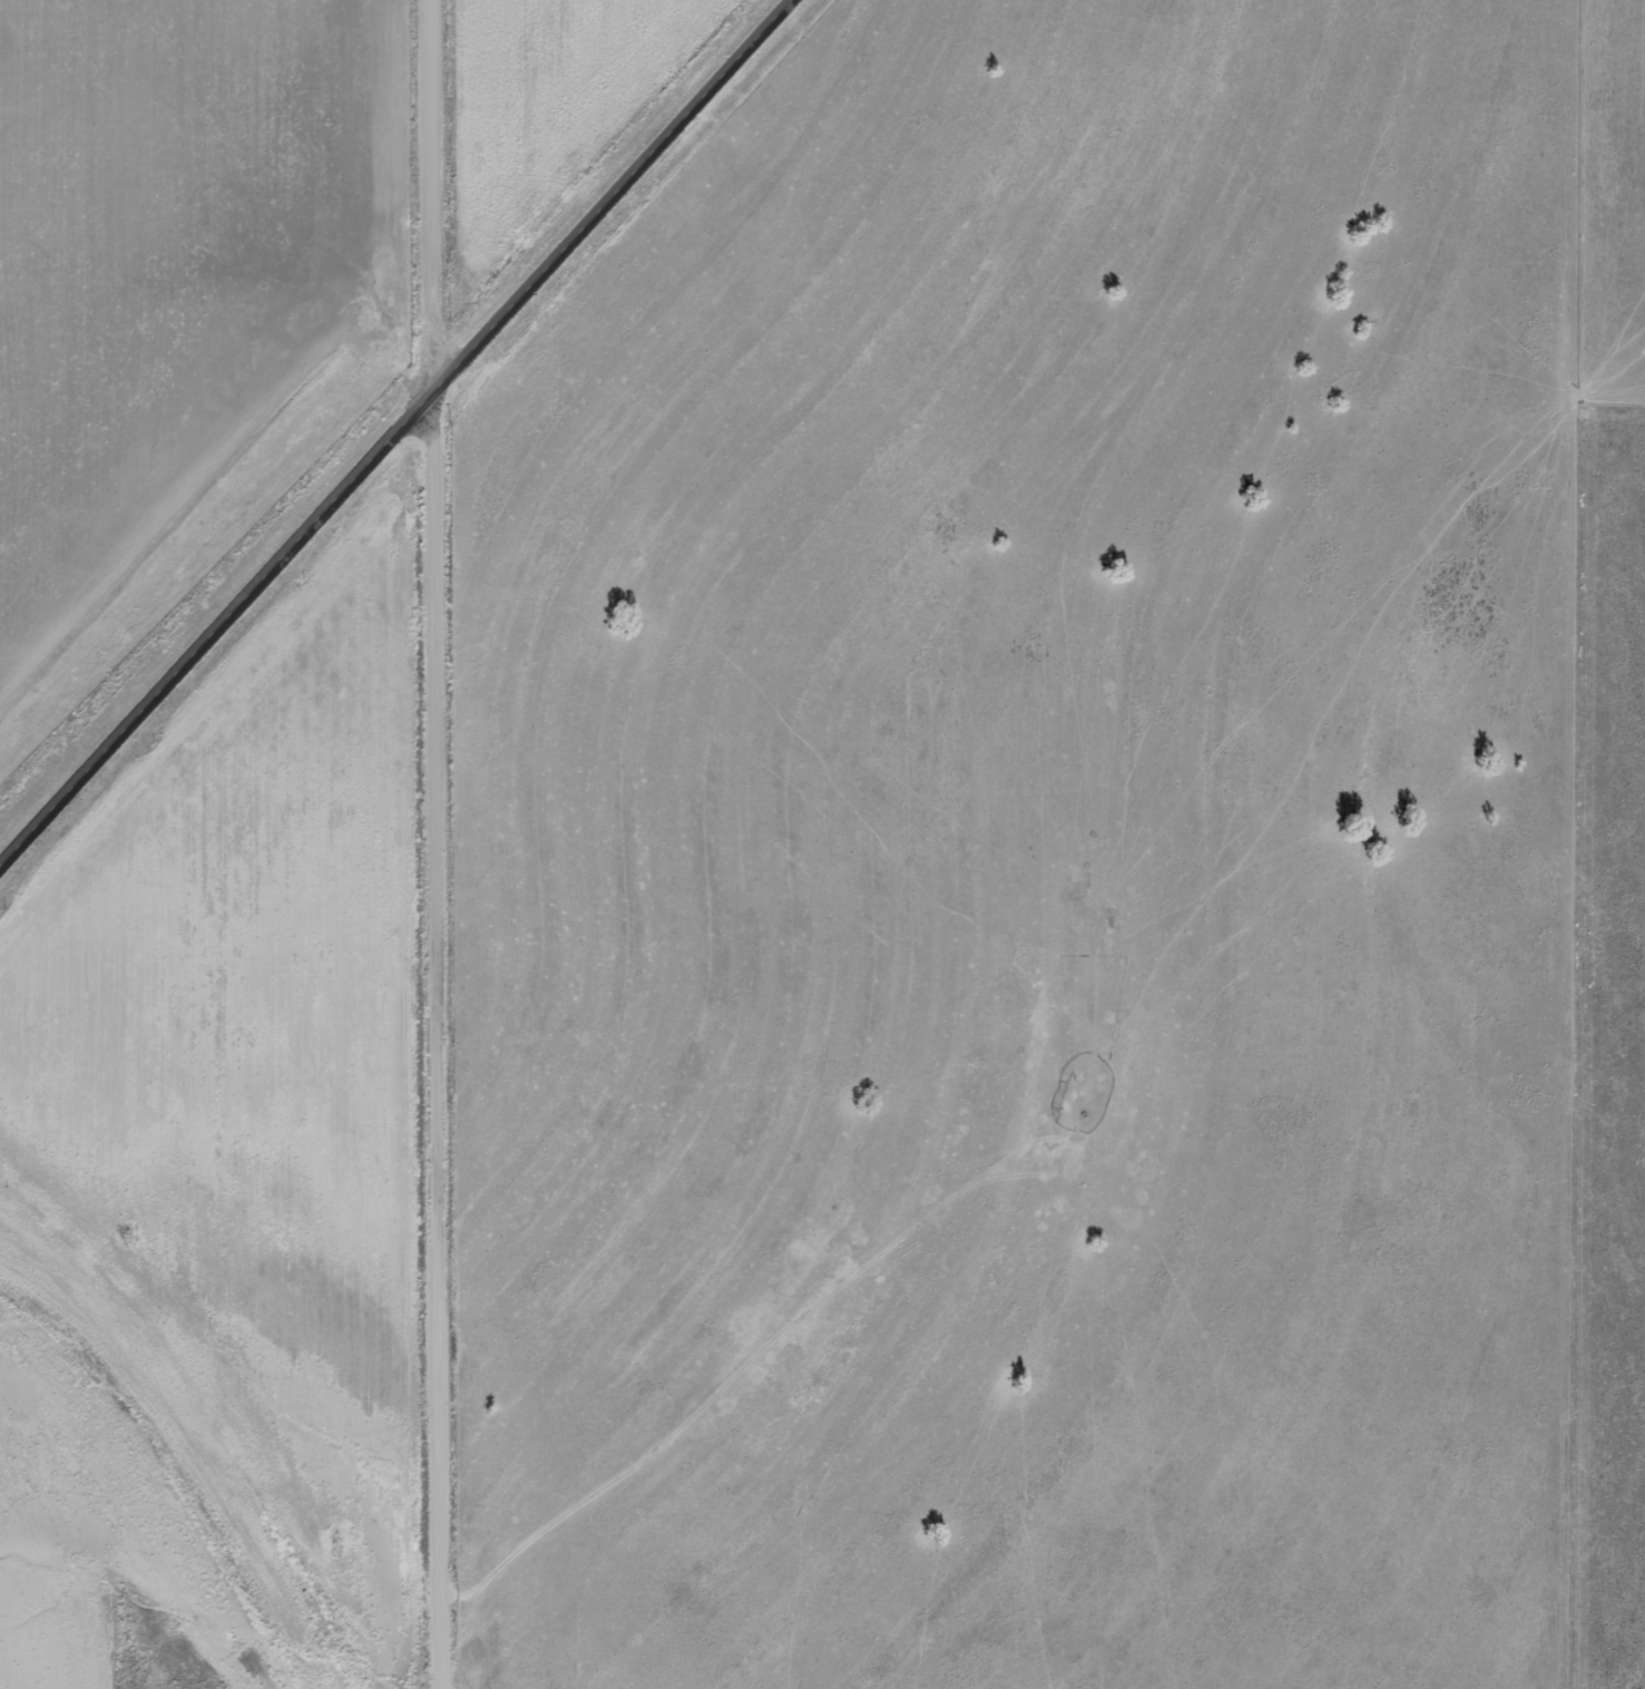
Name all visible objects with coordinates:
railway: (359, 388)
road: (402, 436)
road: (439, 843)

